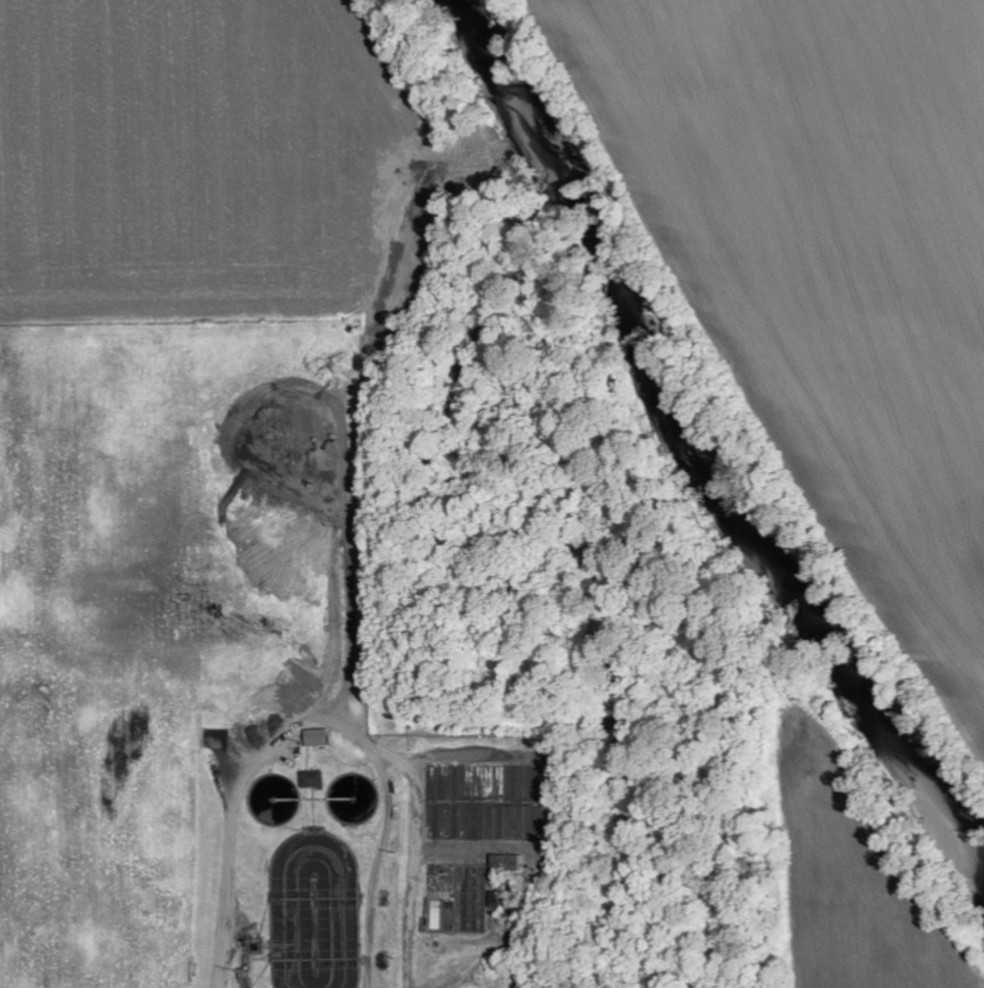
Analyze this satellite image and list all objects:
building: (317, 737)
building: (312, 778)

